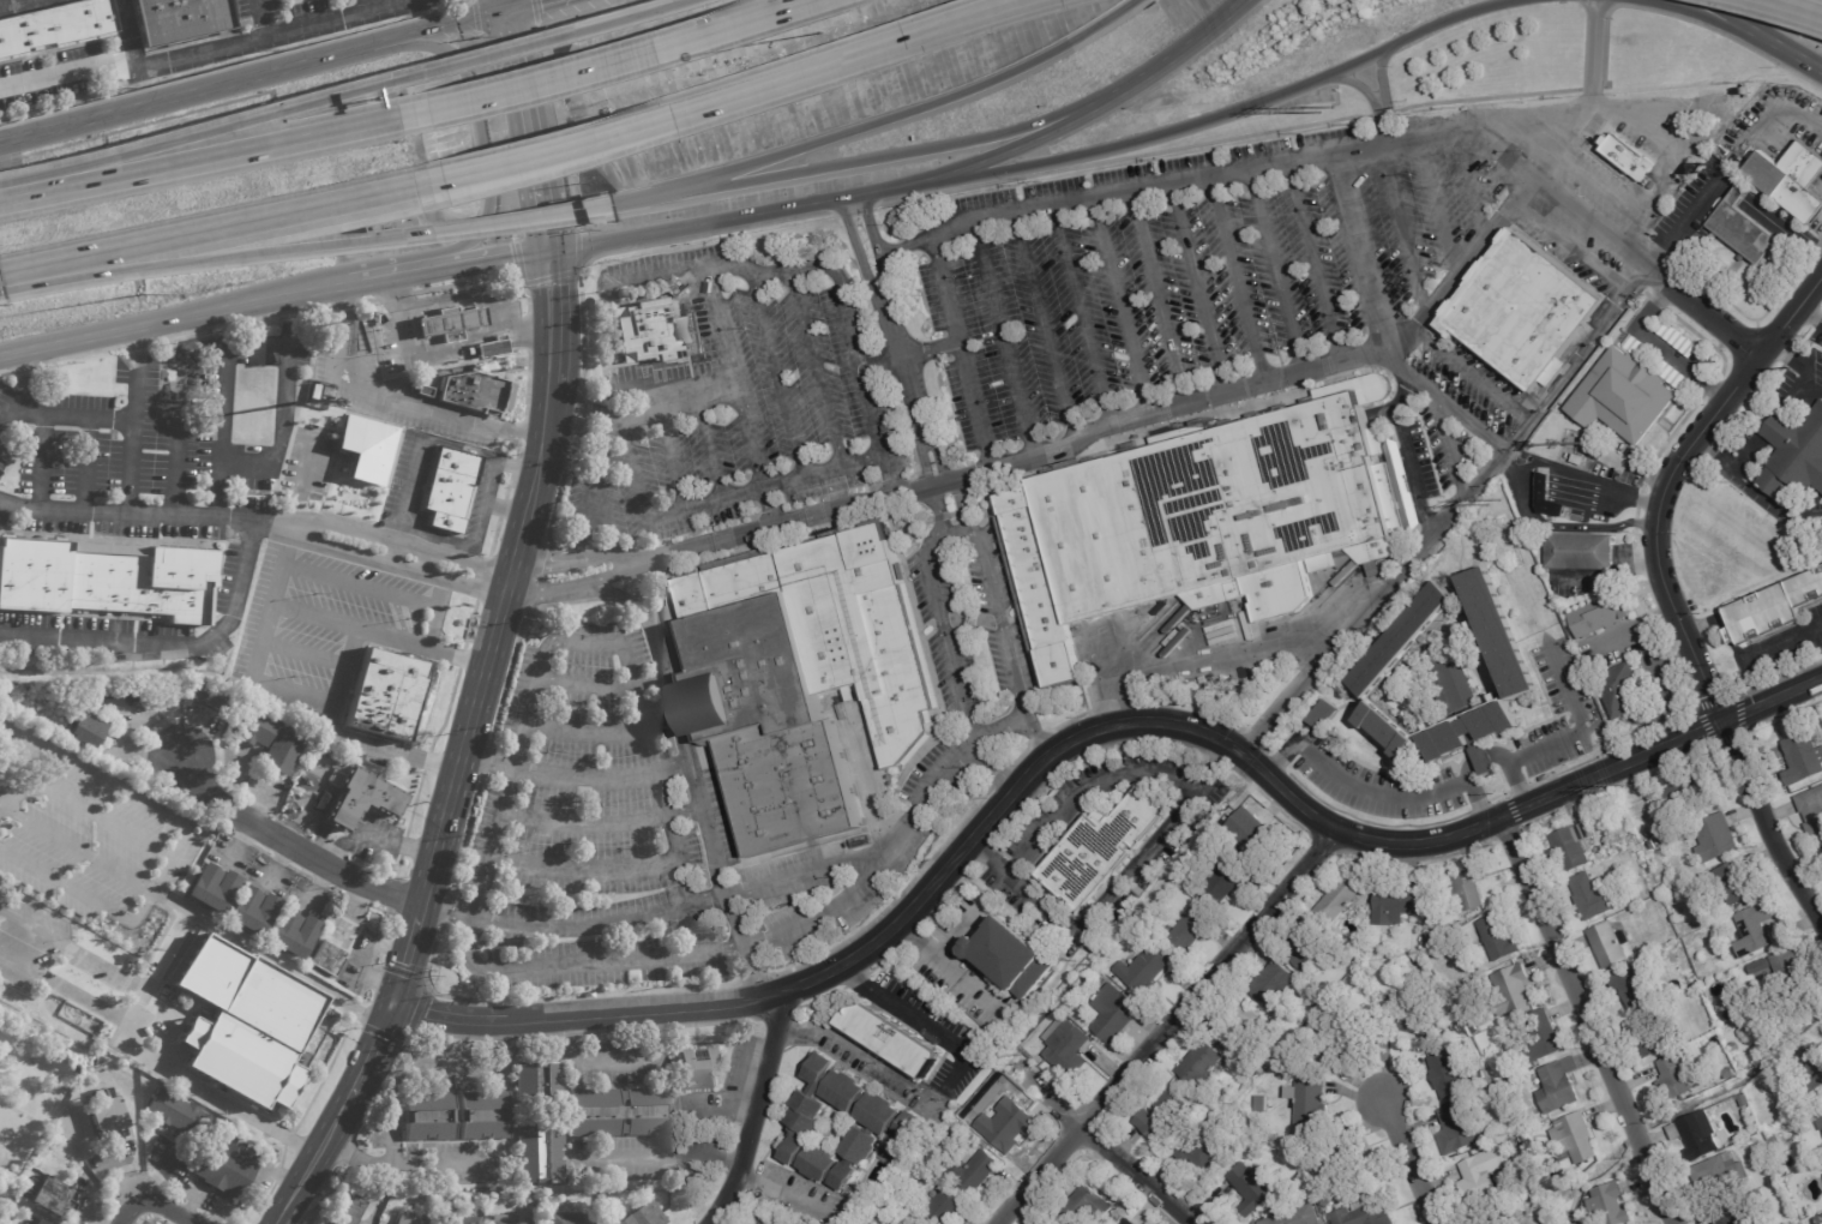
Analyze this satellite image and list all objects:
road: (14, 2)
road: (384, 2)
road: (501, 7)
road: (512, 7)
road: (539, 7)
road: (1788, 8)
road: (535, 13)
road: (475, 16)
traffic signals: (511, 16)
road: (619, 17)
road: (1701, 18)
road: (260, 19)
road: (1684, 20)
building: (179, 22)
road: (1733, 22)
building: (54, 28)
road: (455, 29)
road: (127, 31)
street lamp: (819, 32)
road: (206, 52)
road: (1796, 58)
road: (473, 59)
road: (1171, 59)
road: (235, 64)
road: (601, 66)
road: (1379, 74)
road: (1357, 85)
road: (204, 91)
road: (727, 100)
power tower: (1323, 104)
road: (920, 110)
road: (1235, 110)
road: (1779, 110)
road: (1528, 112)
road: (561, 128)
road: (539, 132)
road: (190, 134)
road: (506, 136)
road: (5, 140)
road: (1018, 145)
road: (1310, 152)
road: (489, 156)
road: (892, 156)
building: (1628, 158)
road: (196, 160)
building: (1791, 180)
road: (1654, 182)
road: (1469, 185)
road: (645, 197)
road: (1396, 205)
road: (1435, 205)
road: (745, 216)
road: (510, 222)
road: (1684, 222)
building: (1742, 229)
road: (204, 235)
road: (900, 245)
road: (638, 246)
road: (1363, 250)
road: (1573, 250)
traffic signals: (549, 253)
road: (208, 259)
road: (1312, 262)
road: (479, 264)
road: (810, 264)
road: (1821, 270)
road: (1273, 271)
road: (548, 277)
road: (485, 278)
road: (1235, 280)
road: (375, 282)
road: (1197, 289)
street lamp: (139, 293)
road: (395, 296)
road: (470, 298)
road: (1156, 300)
road: (365, 301)
road: (344, 304)
road: (1120, 308)
building: (1522, 312)
road: (1706, 312)
road: (1808, 316)
road: (1082, 317)
road: (241, 319)
road: (551, 319)
building: (449, 320)
gas station: (449, 320)
road: (170, 323)
road: (1045, 325)
building: (654, 330)
road: (529, 331)
building: (451, 335)
road: (1003, 335)
road: (895, 341)
road: (136, 342)
road: (1658, 347)
building: (491, 348)
road: (906, 350)
road: (960, 353)
road: (76, 355)
road: (1365, 358)
road: (1399, 365)
road: (18, 367)
road: (814, 367)
road: (2, 370)
road: (777, 374)
road: (1469, 374)
road: (1818, 376)
building: (419, 377)
road: (222, 382)
road: (16, 383)
road: (527, 386)
road: (549, 389)
building: (425, 390)
building: (476, 391)
road: (1402, 392)
building: (1624, 396)
road: (678, 397)
road: (401, 401)
road: (577, 406)
road: (585, 406)
road: (70, 415)
road: (2, 418)
road: (1776, 420)
road: (132, 424)
road: (1469, 425)
road: (521, 433)
road: (176, 436)
building: (362, 444)
road: (708, 445)
road: (461, 448)
road: (518, 452)
building: (1796, 455)
road: (668, 457)
road: (275, 458)
building: (1580, 461)
road: (40, 462)
road: (85, 466)
road: (515, 466)
road: (517, 467)
road: (590, 474)
road: (886, 478)
road: (1581, 479)
road: (560, 480)
road: (507, 486)
road: (633, 486)
building: (1544, 487)
building: (451, 488)
road: (404, 500)
road: (962, 502)
road: (703, 504)
road: (1779, 505)
road: (938, 506)
road: (501, 508)
road: (768, 508)
road: (506, 510)
building: (1217, 514)
road: (1453, 515)
road: (145, 518)
road: (784, 524)
road: (1565, 524)
road: (937, 532)
road: (493, 536)
road: (477, 540)
building: (1581, 551)
road: (423, 553)
road: (287, 556)
road: (464, 562)
building: (103, 578)
road: (482, 578)
road: (536, 578)
road: (360, 584)
road: (462, 584)
building: (1041, 584)
road: (656, 587)
road: (1664, 587)
road: (619, 595)
road: (627, 600)
building: (1606, 613)
building: (1774, 613)
road: (317, 616)
road: (1721, 623)
road: (469, 624)
road: (521, 628)
building: (1501, 636)
road: (426, 643)
building: (1407, 643)
road: (174, 644)
road: (620, 644)
road: (1781, 644)
road: (305, 654)
road: (1238, 656)
road: (459, 658)
road: (487, 659)
building: (807, 678)
road: (599, 682)
building: (1456, 682)
building: (1623, 690)
road: (294, 694)
building: (107, 695)
road: (669, 695)
building: (385, 696)
building: (205, 697)
road: (335, 709)
road: (446, 710)
building: (1324, 715)
building: (1800, 725)
road: (1003, 727)
building: (251, 728)
building: (84, 730)
building: (1390, 731)
building: (1477, 737)
road: (1562, 739)
building: (279, 751)
building: (309, 757)
building: (1802, 758)
road: (426, 760)
road: (487, 760)
road: (575, 778)
power tower: (1622, 787)
road: (1377, 790)
building: (1684, 794)
building: (357, 798)
road: (414, 803)
road: (86, 810)
building: (1812, 812)
road: (600, 824)
road: (1169, 826)
road: (1337, 828)
road: (464, 833)
building: (1252, 833)
building: (1716, 839)
building: (1656, 842)
road: (176, 844)
road: (290, 845)
road: (403, 845)
building: (1574, 845)
road: (77, 847)
building: (1094, 847)
building: (1821, 848)
road: (397, 866)
road: (602, 866)
road: (808, 871)
building: (1222, 881)
road: (723, 882)
building: (1737, 883)
building: (1468, 886)
building: (211, 889)
road: (83, 894)
road: (342, 894)
road: (389, 895)
building: (1593, 896)
building: (1340, 898)
building: (1394, 905)
road: (446, 908)
building: (252, 912)
road: (575, 924)
road: (218, 928)
building: (1186, 928)
road: (961, 930)
building: (1756, 930)
building: (291, 934)
building: (1497, 936)
building: (1429, 938)
building: (333, 946)
building: (1608, 946)
road: (74, 949)
road: (862, 952)
building: (1303, 952)
building: (1012, 954)
road: (663, 956)
road: (405, 964)
road: (949, 965)
building: (1143, 967)
building: (1760, 967)
building: (1785, 968)
road: (397, 970)
road: (311, 980)
building: (1636, 980)
building: (1273, 986)
building: (1513, 988)
road: (64, 990)
road: (549, 998)
road: (196, 1000)
road: (738, 1001)
building: (1313, 1002)
traffic signals: (393, 1003)
road: (419, 1008)
road: (654, 1008)
road: (896, 1008)
road: (354, 1009)
building: (1112, 1010)
road: (590, 1013)
building: (1406, 1018)
road: (477, 1019)
road: (1587, 1020)
road: (1167, 1026)
building: (1244, 1027)
building: (1710, 1027)
building: (1474, 1028)
road: (375, 1031)
building: (1544, 1033)
building: (254, 1034)
building: (892, 1037)
building: (1340, 1038)
building: (1654, 1042)
building: (1022, 1044)
road: (133, 1046)
building: (1734, 1048)
building: (1065, 1049)
road: (397, 1050)
road: (537, 1050)
building: (1757, 1050)
road: (372, 1051)
road: (854, 1051)
road: (585, 1062)
building: (1201, 1062)
building: (693, 1066)
road: (429, 1068)
building: (1259, 1068)
building: (1814, 1068)
building: (1243, 1069)
building: (1730, 1073)
building: (1448, 1074)
road: (323, 1075)
building: (1252, 1079)
building: (1676, 1080)
building: (539, 1081)
building: (1561, 1084)
building: (1310, 1099)
building: (1743, 1102)
road: (234, 1108)
building: (617, 1109)
road: (753, 1109)
building: (170, 1111)
building: (1160, 1114)
building: (107, 1116)
building: (429, 1116)
building: (485, 1116)
building: (889, 1121)
building: (1820, 1122)
road: (335, 1123)
building: (1004, 1124)
building: (1459, 1126)
building: (1192, 1128)
building: (1689, 1133)
building: (1487, 1135)
building: (1575, 1136)
road: (287, 1138)
building: (1513, 1142)
building: (1775, 1142)
building: (1198, 1148)
road: (348, 1153)
building: (540, 1154)
road: (665, 1154)
road: (1401, 1162)
building: (218, 1165)
road: (396, 1166)
building: (968, 1166)
road: (155, 1171)
building: (1481, 1172)
building: (1713, 1175)
road: (1134, 1177)
road: (299, 1186)
road: (271, 1187)
building: (1250, 1188)
building: (1321, 1189)
building: (48, 1193)
road: (324, 1193)
road: (786, 1193)
building: (1505, 1194)
road: (150, 1199)
building: (1327, 1202)
building: (1610, 1204)
building: (943, 1206)
building: (1083, 1206)
building: (353, 1211)
building: (1364, 1213)
building: (642, 1214)
building: (566, 1216)
building: (1294, 1216)
building: (1726, 1217)
building: (404, 1219)
building: (458, 1219)
building: (507, 1219)
building: (1128, 1220)
building: (1820, 1220)
building: (36, 1222)
building: (760, 1222)
building: (1491, 1222)
building: (329, 1223)
building: (897, 1223)

